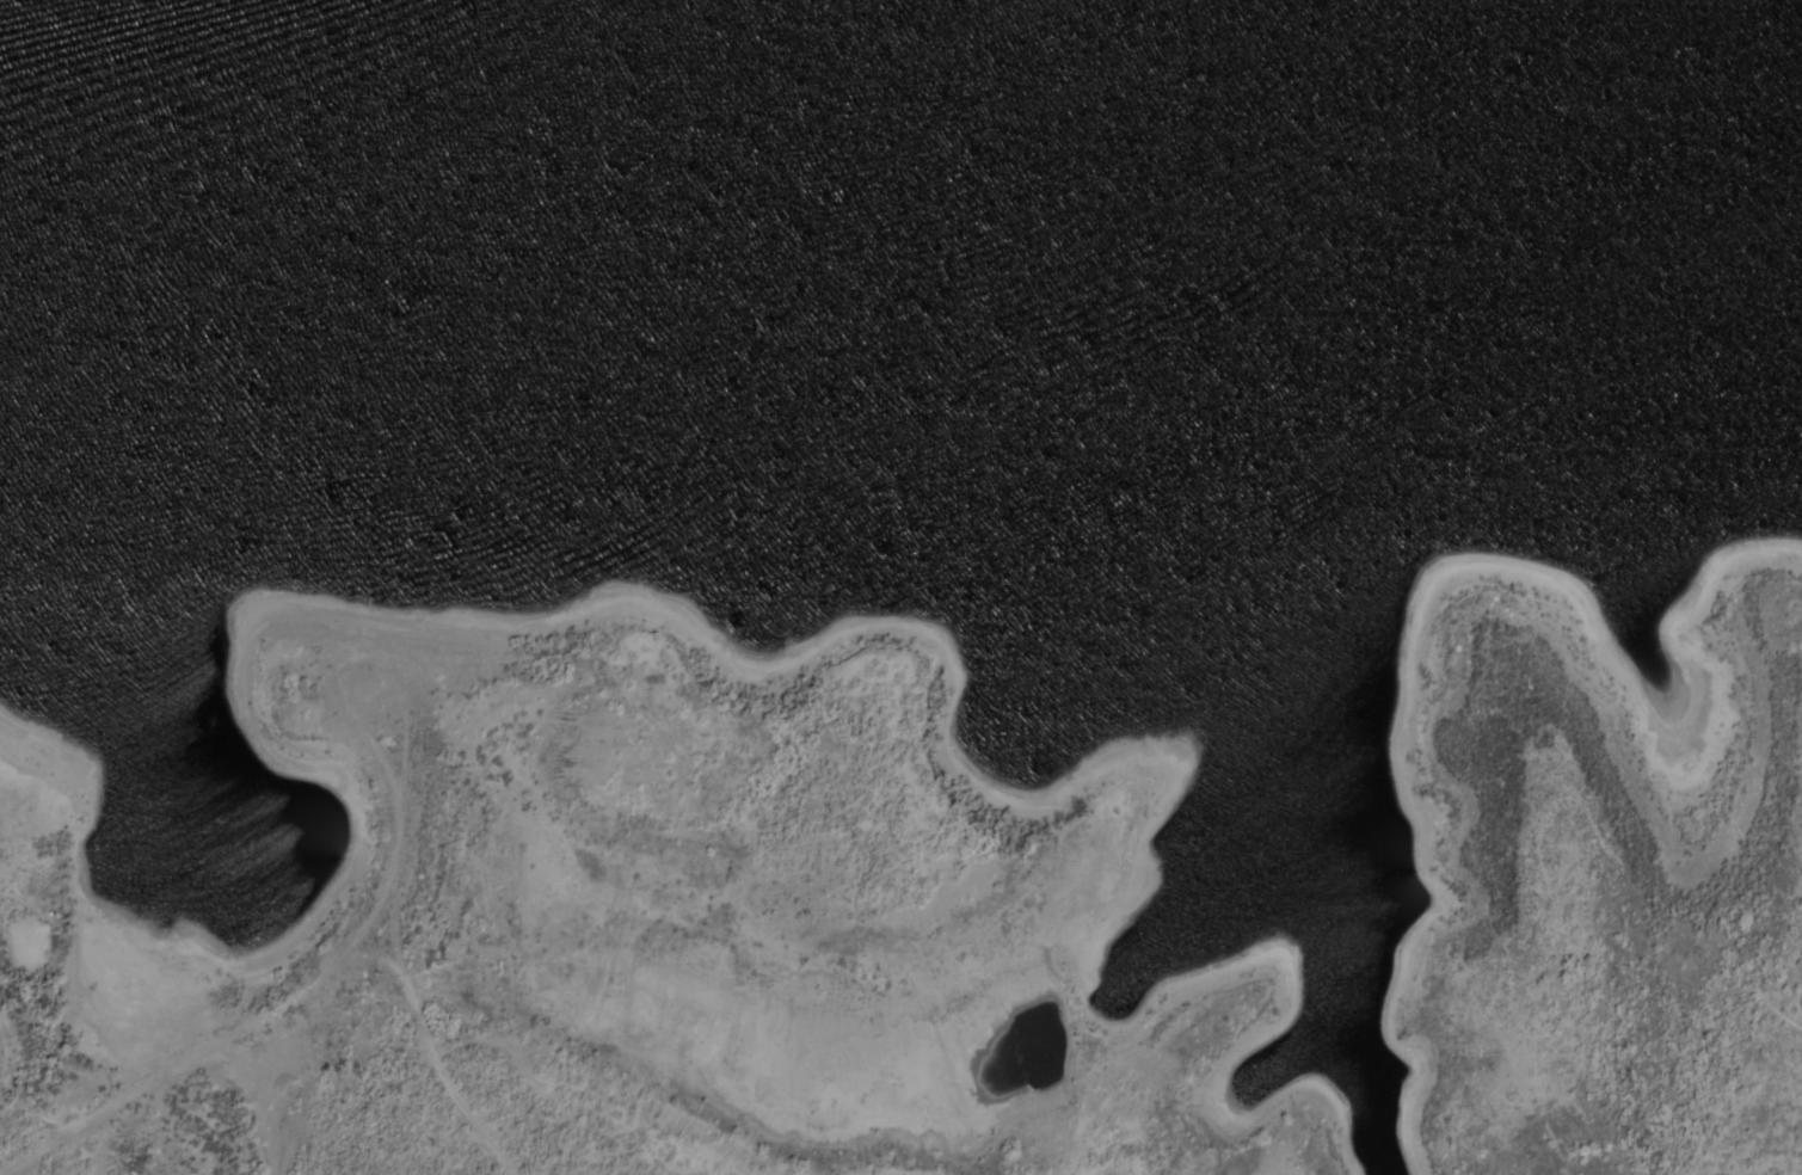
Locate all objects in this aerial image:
road: (1772, 712)

